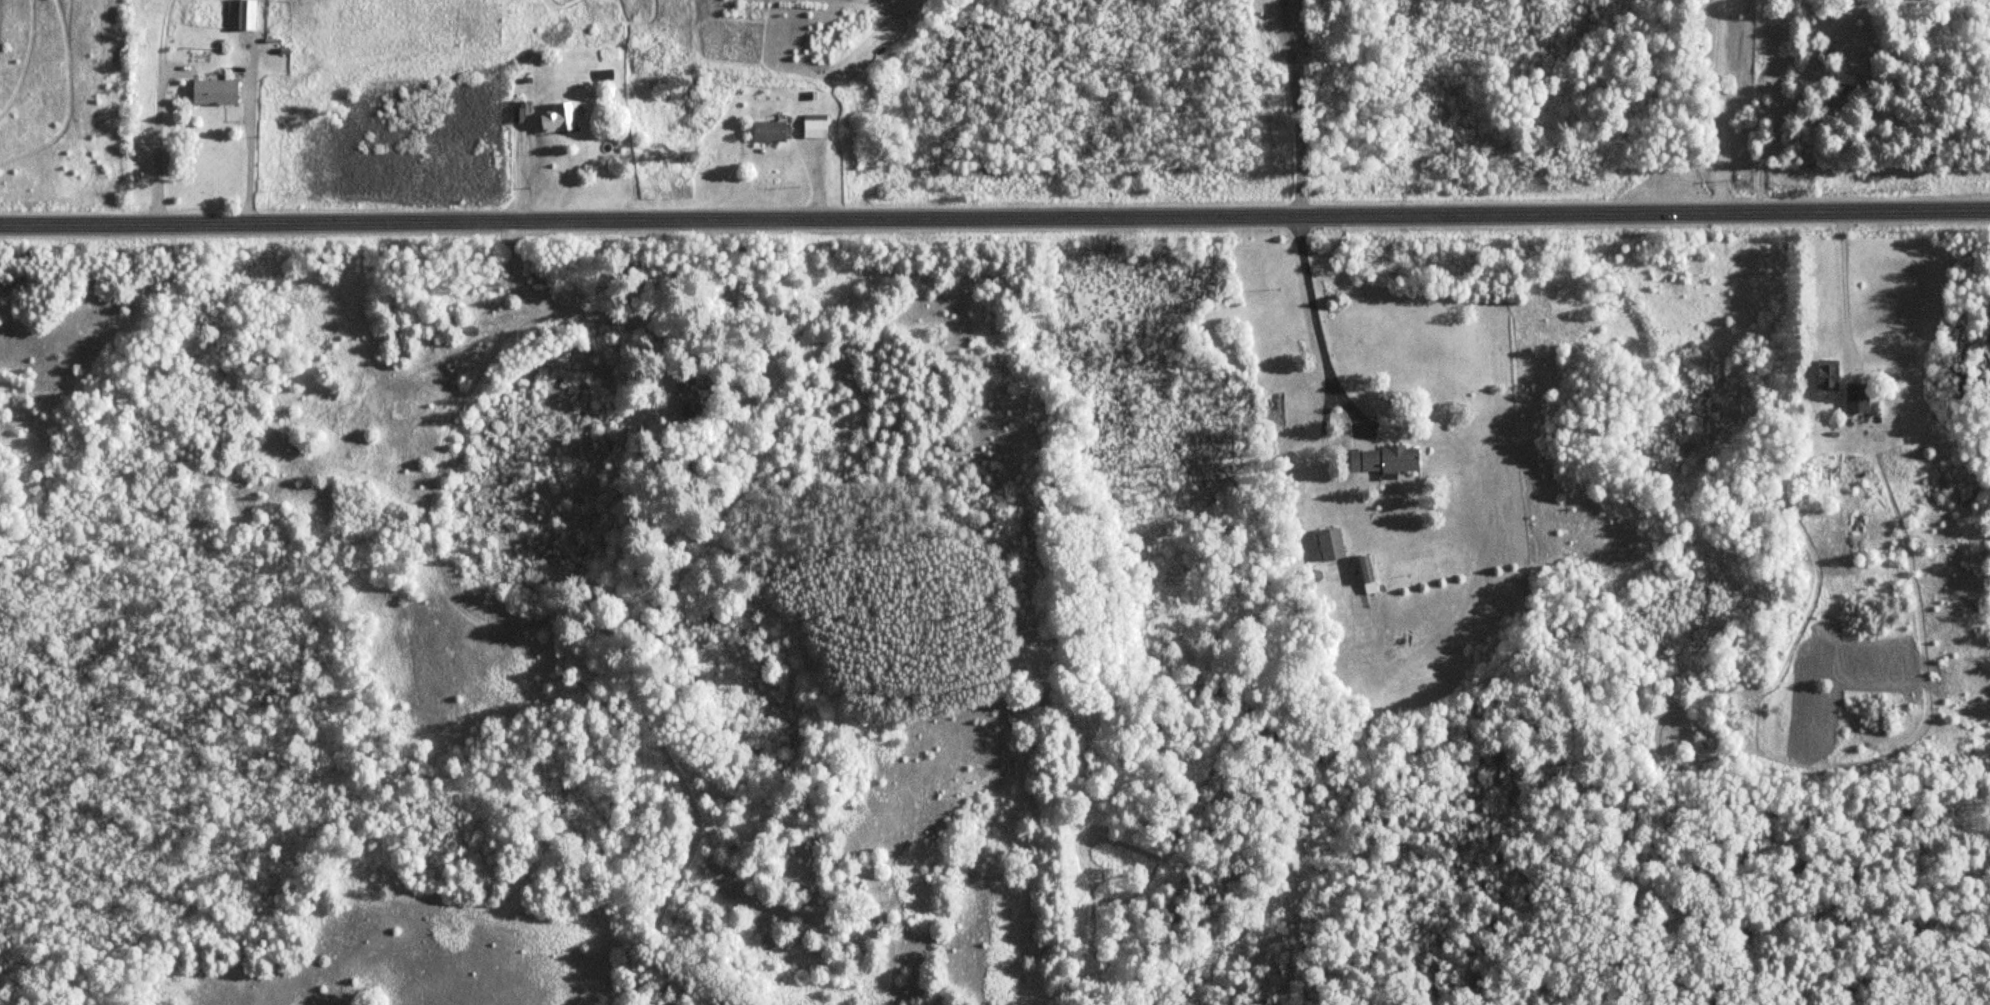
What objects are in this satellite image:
building: (241, 14)
building: (1846, 81)
building: (215, 91)
road: (1719, 105)
building: (561, 118)
building: (815, 125)
building: (770, 131)
road: (995, 215)
road: (553, 302)
building: (1828, 373)
building: (689, 395)
building: (1858, 396)
building: (1386, 458)
building: (1831, 471)
building: (1332, 542)
building: (1368, 572)

